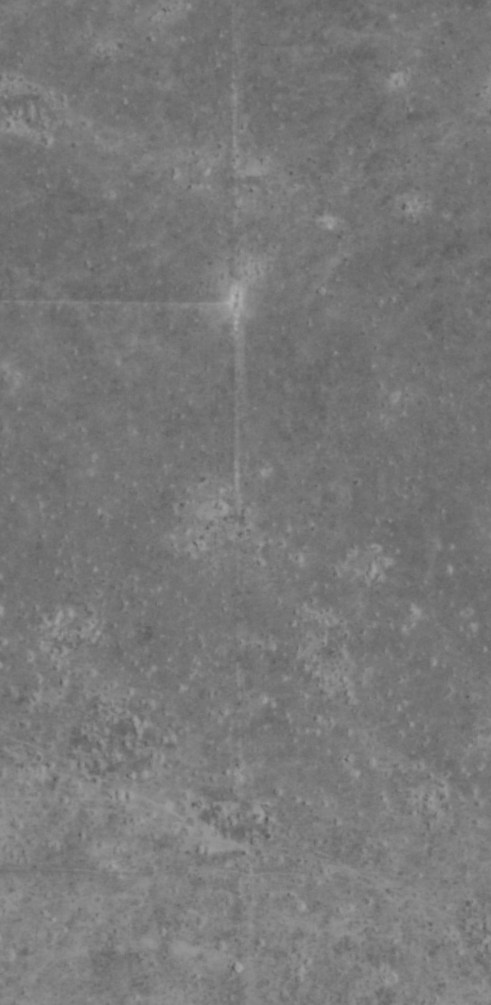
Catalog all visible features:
road: (245, 877)

